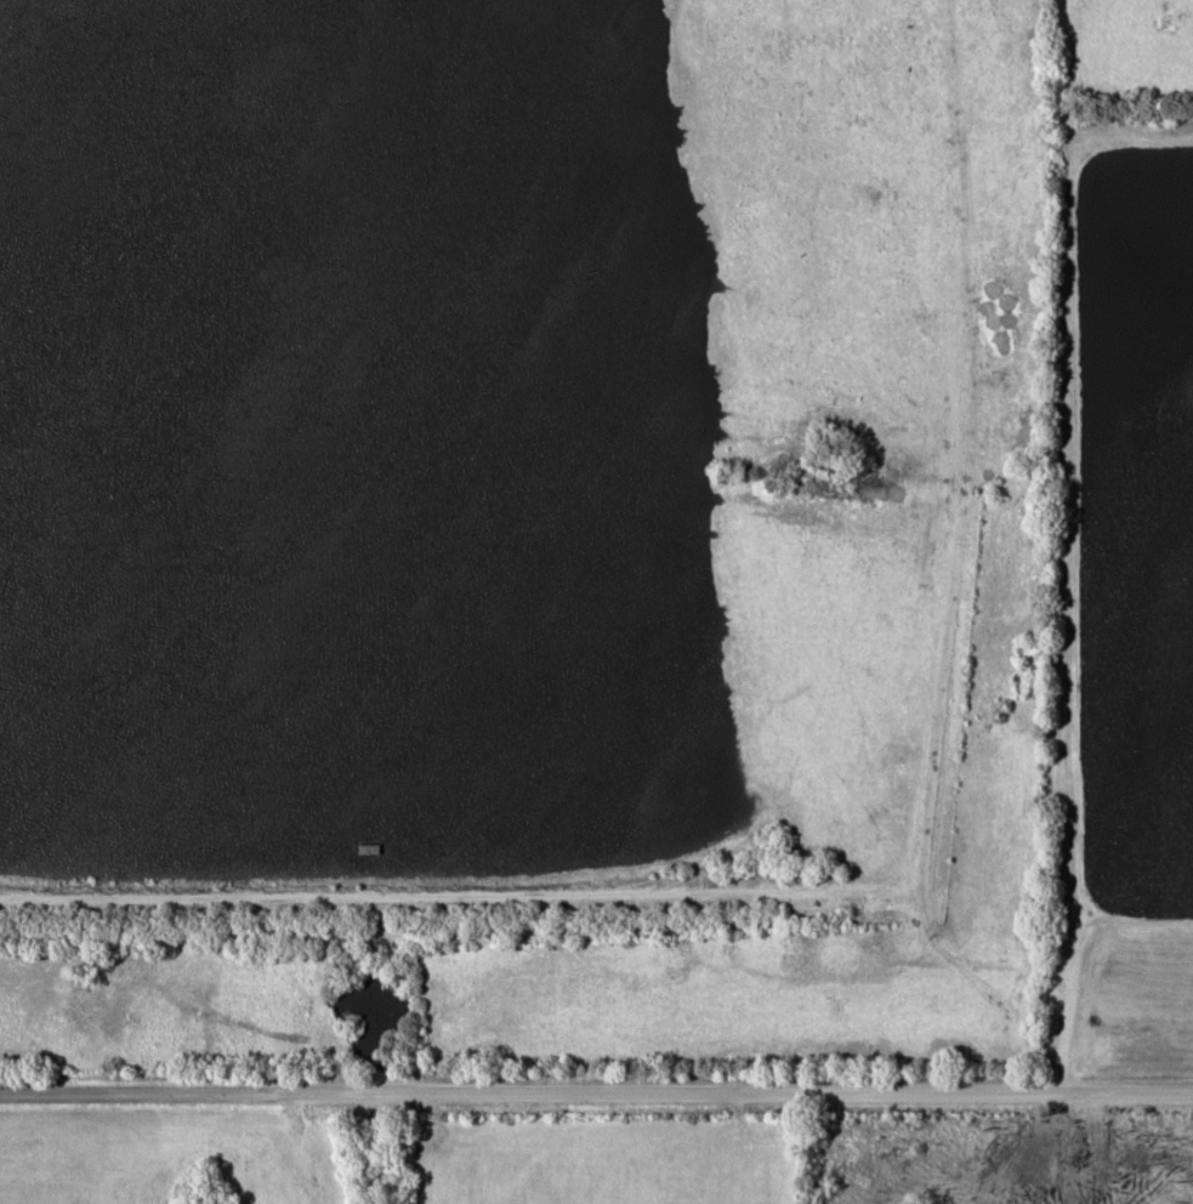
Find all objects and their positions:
road: (596, 1087)

